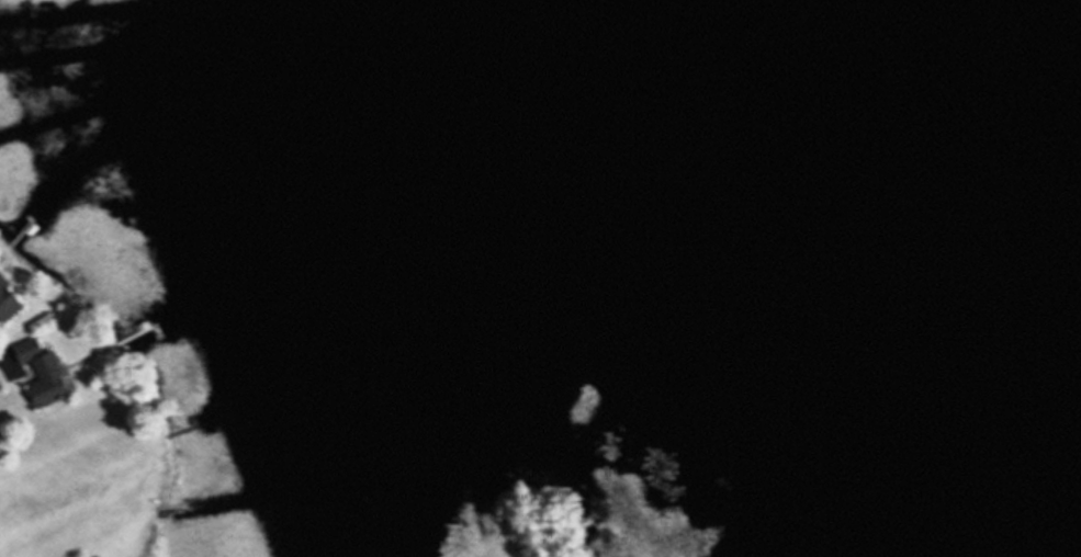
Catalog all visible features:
building: (7, 303)
building: (40, 373)

